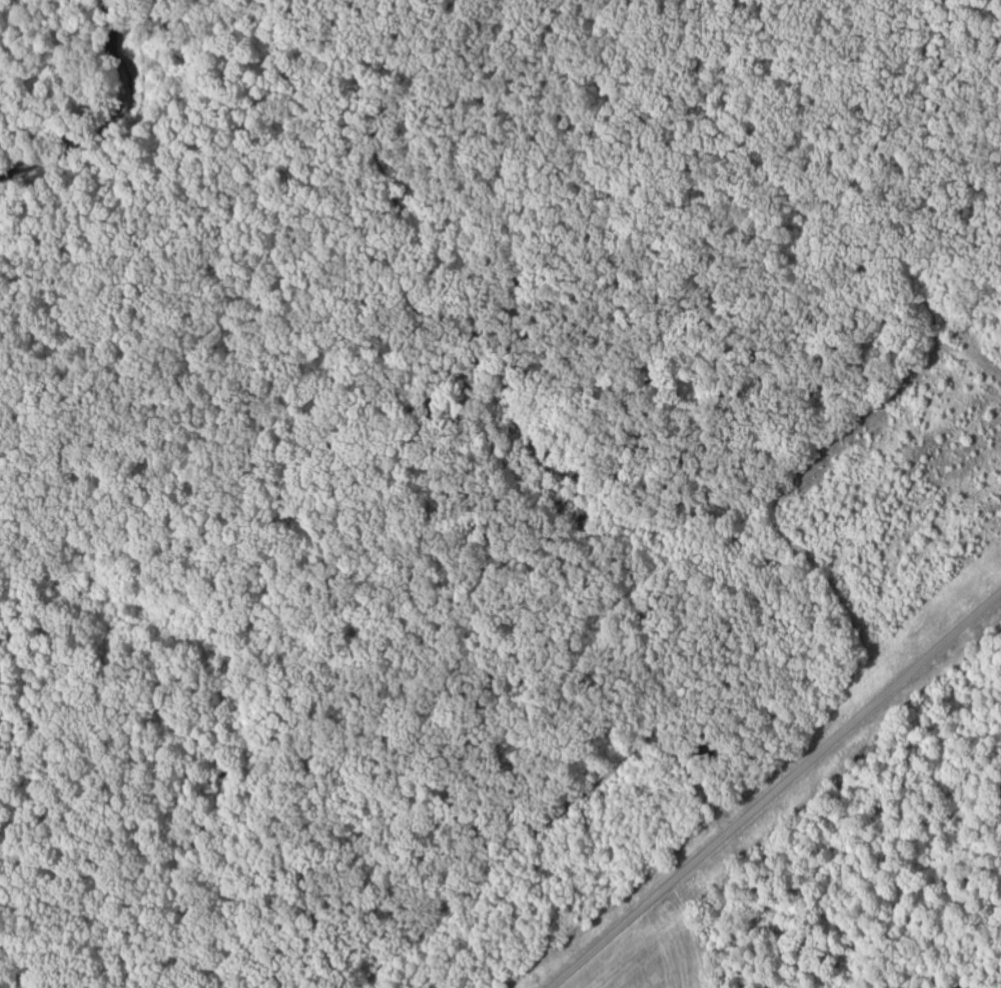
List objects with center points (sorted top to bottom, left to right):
road: (776, 791)

